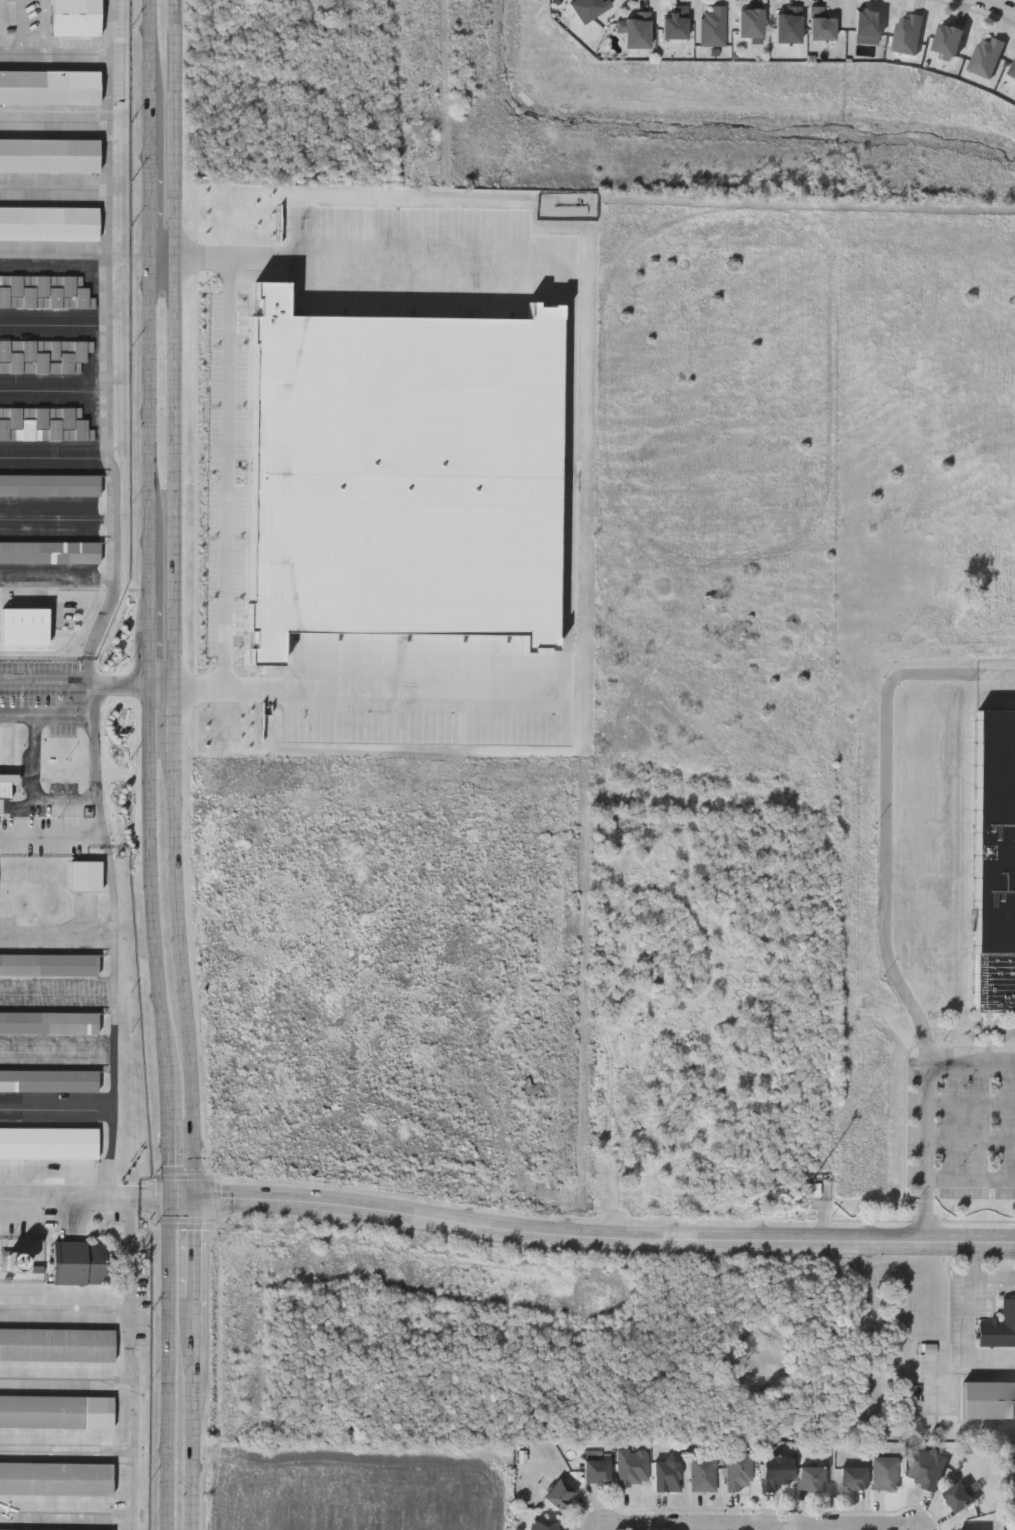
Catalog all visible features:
road: (992, 7)
building: (588, 8)
building: (74, 17)
building: (749, 22)
building: (867, 22)
building: (675, 23)
building: (821, 24)
building: (788, 25)
building: (712, 27)
building: (635, 31)
building: (907, 33)
building: (948, 38)
building: (986, 56)
road: (162, 62)
building: (1013, 70)
building: (49, 85)
building: (49, 153)
building: (48, 221)
building: (44, 290)
road: (106, 347)
building: (43, 354)
building: (43, 422)
road: (226, 450)
building: (49, 484)
road: (572, 507)
building: (50, 551)
road: (149, 557)
road: (172, 603)
building: (5, 679)
road: (85, 690)
airport: (68, 789)
road: (887, 812)
road: (39, 836)
building: (994, 858)
building: (84, 875)
building: (22, 903)
building: (48, 964)
building: (48, 1022)
building: (48, 1080)
building: (537, 1089)
road: (971, 1100)
road: (927, 1105)
building: (48, 1142)
road: (971, 1142)
road: (171, 1152)
road: (619, 1176)
road: (970, 1179)
traffic signals: (195, 1189)
traffic signals: (171, 1191)
building: (815, 1191)
road: (90, 1192)
traffic signals: (194, 1206)
traffic signals: (171, 1207)
road: (591, 1230)
road: (611, 1239)
road: (591, 1244)
building: (78, 1263)
road: (194, 1263)
road: (992, 1274)
road: (968, 1318)
building: (998, 1325)
building: (55, 1344)
road: (167, 1360)
road: (942, 1367)
building: (988, 1399)
building: (55, 1411)
road: (192, 1425)
building: (630, 1468)
building: (925, 1468)
building: (595, 1472)
building: (737, 1472)
building: (776, 1472)
building: (883, 1473)
building: (665, 1475)
building: (702, 1475)
building: (55, 1477)
building: (810, 1479)
building: (851, 1479)
building: (557, 1495)
building: (958, 1499)
building: (543, 1524)
road: (593, 1526)
road: (731, 1528)
building: (36, 1529)
building: (971, 1529)

